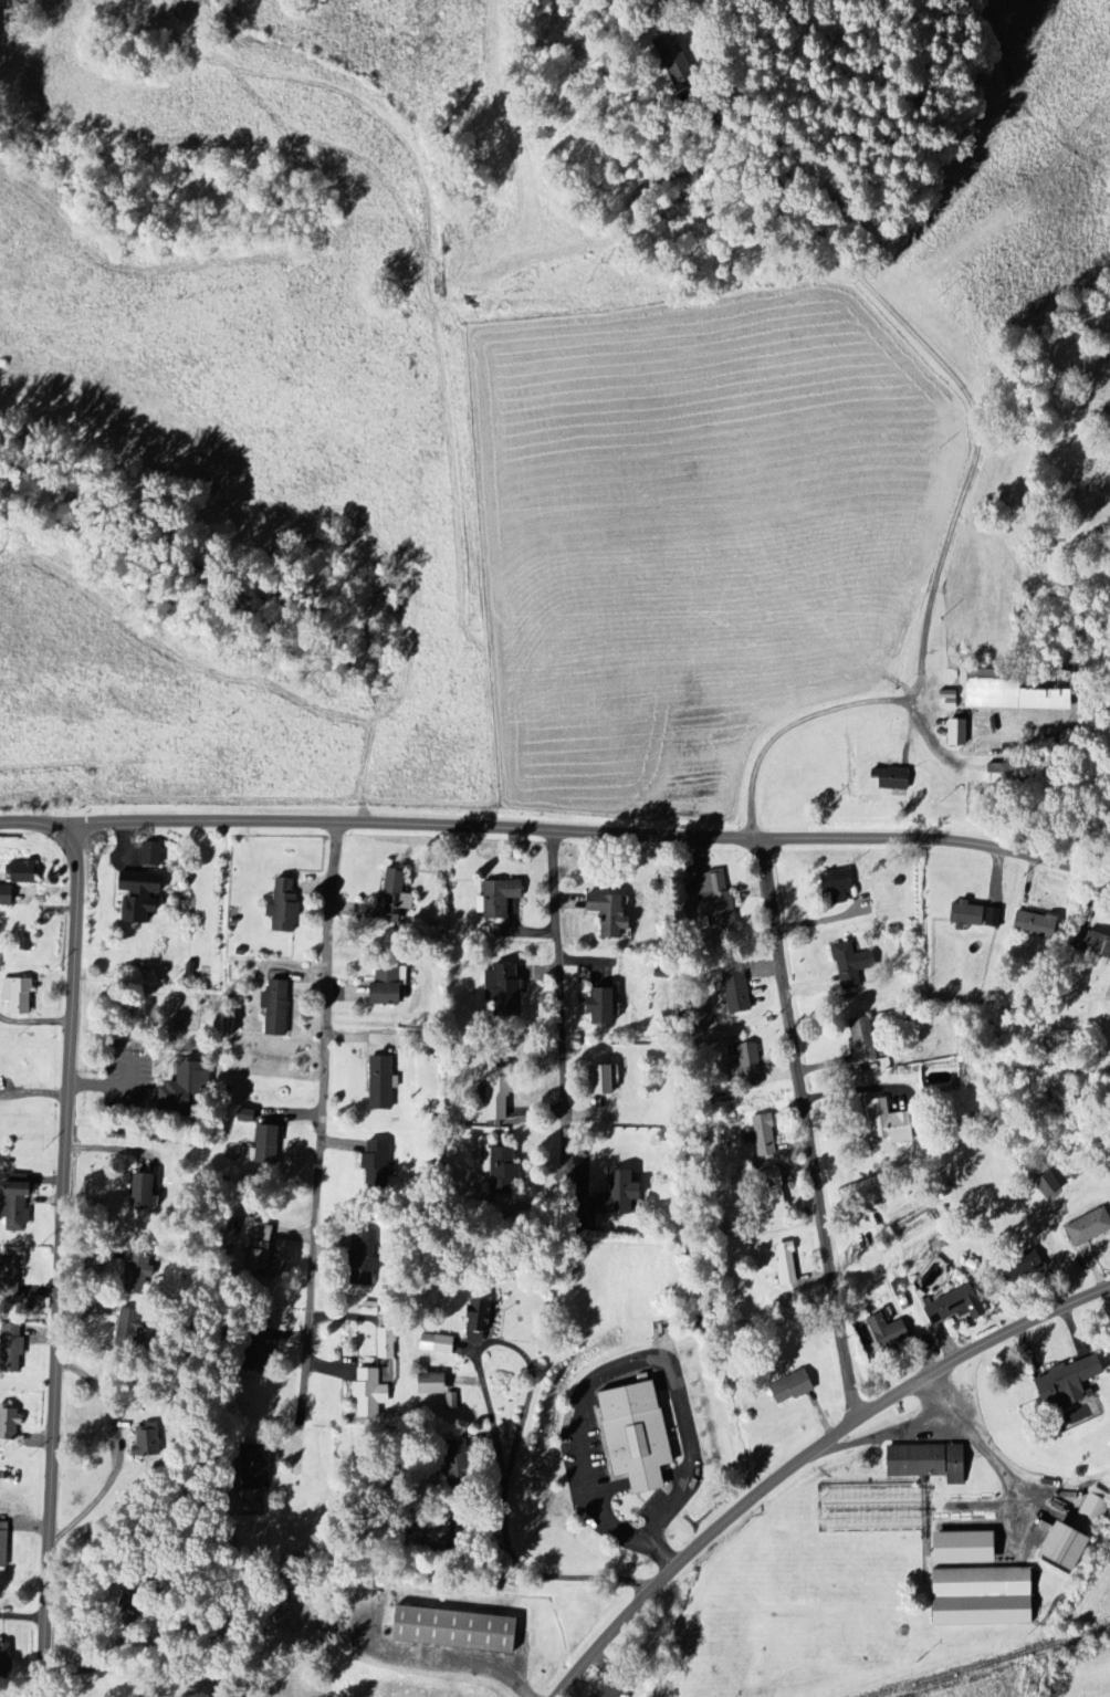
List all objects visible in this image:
road: (842, 708)
building: (957, 732)
building: (892, 779)
road: (38, 821)
road: (595, 830)
building: (153, 855)
building: (25, 873)
building: (838, 884)
building: (395, 895)
building: (7, 897)
building: (140, 897)
building: (501, 898)
building: (718, 900)
building: (285, 907)
building: (611, 914)
building: (970, 915)
building: (1037, 924)
building: (1095, 943)
building: (852, 965)
building: (389, 986)
building: (505, 989)
building: (737, 991)
building: (19, 995)
building: (604, 1006)
building: (277, 1008)
road: (558, 1013)
building: (863, 1040)
building: (747, 1062)
building: (607, 1080)
road: (109, 1085)
building: (383, 1085)
building: (186, 1091)
building: (501, 1097)
road: (316, 1123)
building: (890, 1123)
road: (807, 1128)
building: (765, 1135)
building: (269, 1144)
building: (378, 1165)
building: (509, 1171)
building: (1051, 1186)
building: (143, 1190)
building: (619, 1194)
building: (17, 1204)
building: (1090, 1228)
building: (263, 1233)
building: (262, 1257)
building: (367, 1258)
road: (56, 1259)
building: (787, 1265)
building: (140, 1269)
building: (1019, 1271)
building: (10, 1277)
building: (957, 1306)
building: (371, 1310)
building: (481, 1321)
building: (129, 1329)
building: (889, 1332)
building: (386, 1343)
building: (437, 1344)
building: (259, 1345)
building: (12, 1348)
road: (608, 1369)
building: (433, 1384)
building: (1070, 1386)
building: (793, 1387)
building: (369, 1391)
building: (10, 1425)
building: (638, 1435)
road: (883, 1435)
road: (495, 1437)
building: (150, 1439)
road: (975, 1439)
road: (121, 1453)
road: (803, 1454)
building: (929, 1462)
building: (254, 1463)
building: (1093, 1511)
building: (3, 1544)
building: (1069, 1547)
building: (967, 1549)
building: (984, 1598)
road: (20, 1619)
building: (455, 1630)
railway: (988, 1661)
building: (4, 1662)
road: (463, 1663)
building: (615, 1687)

